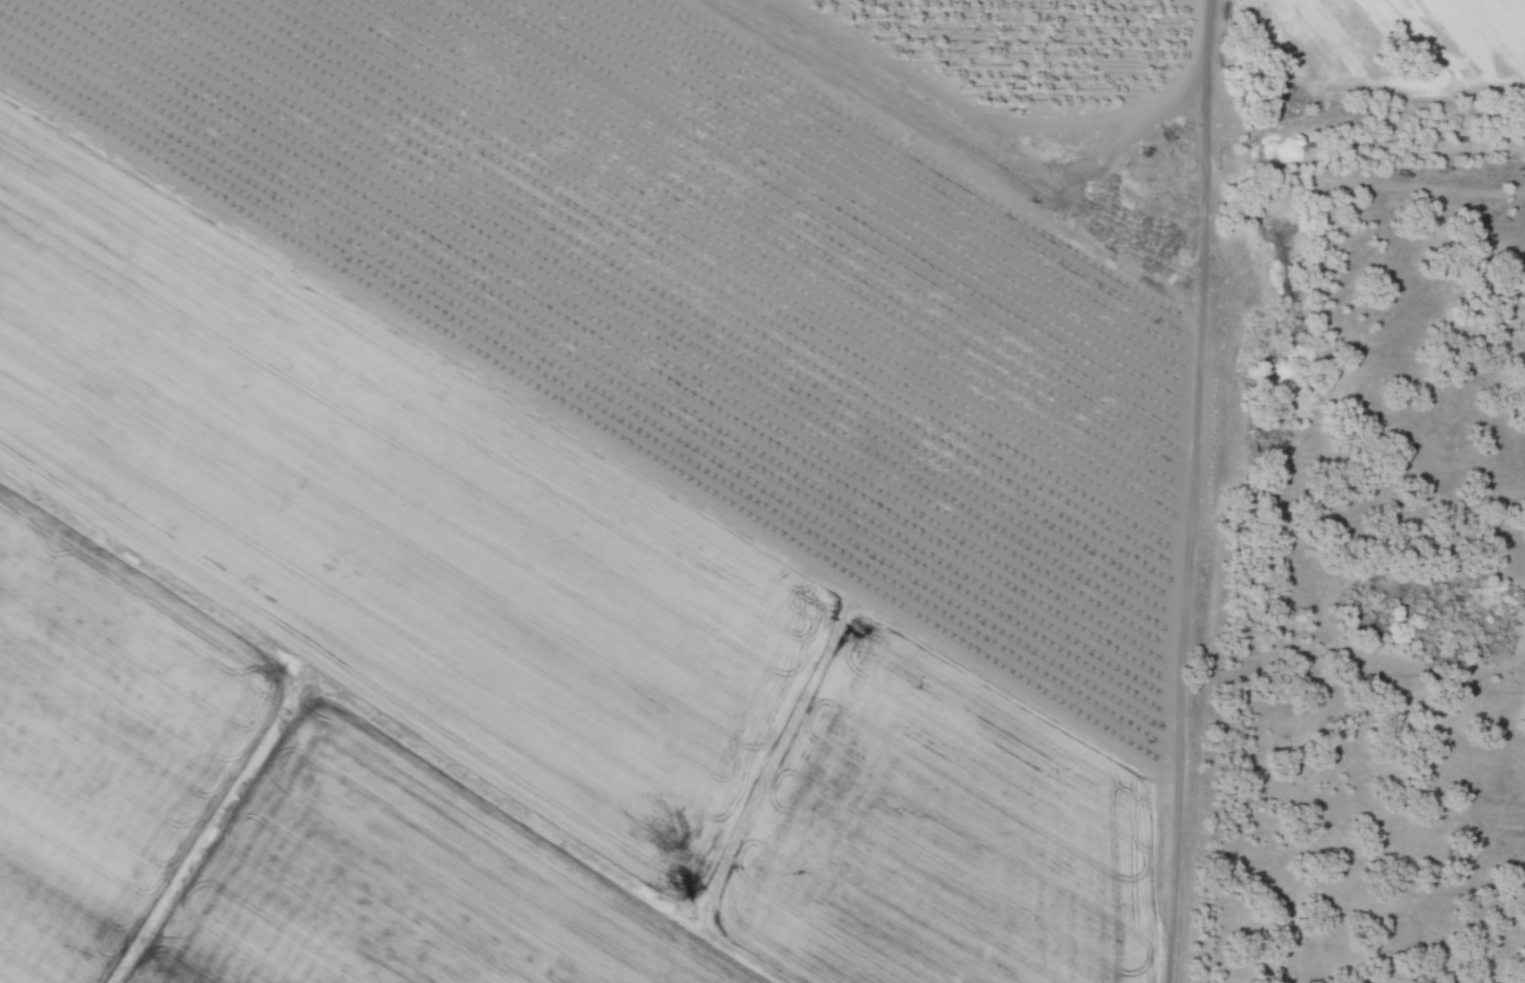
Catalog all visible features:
road: (1212, 33)

